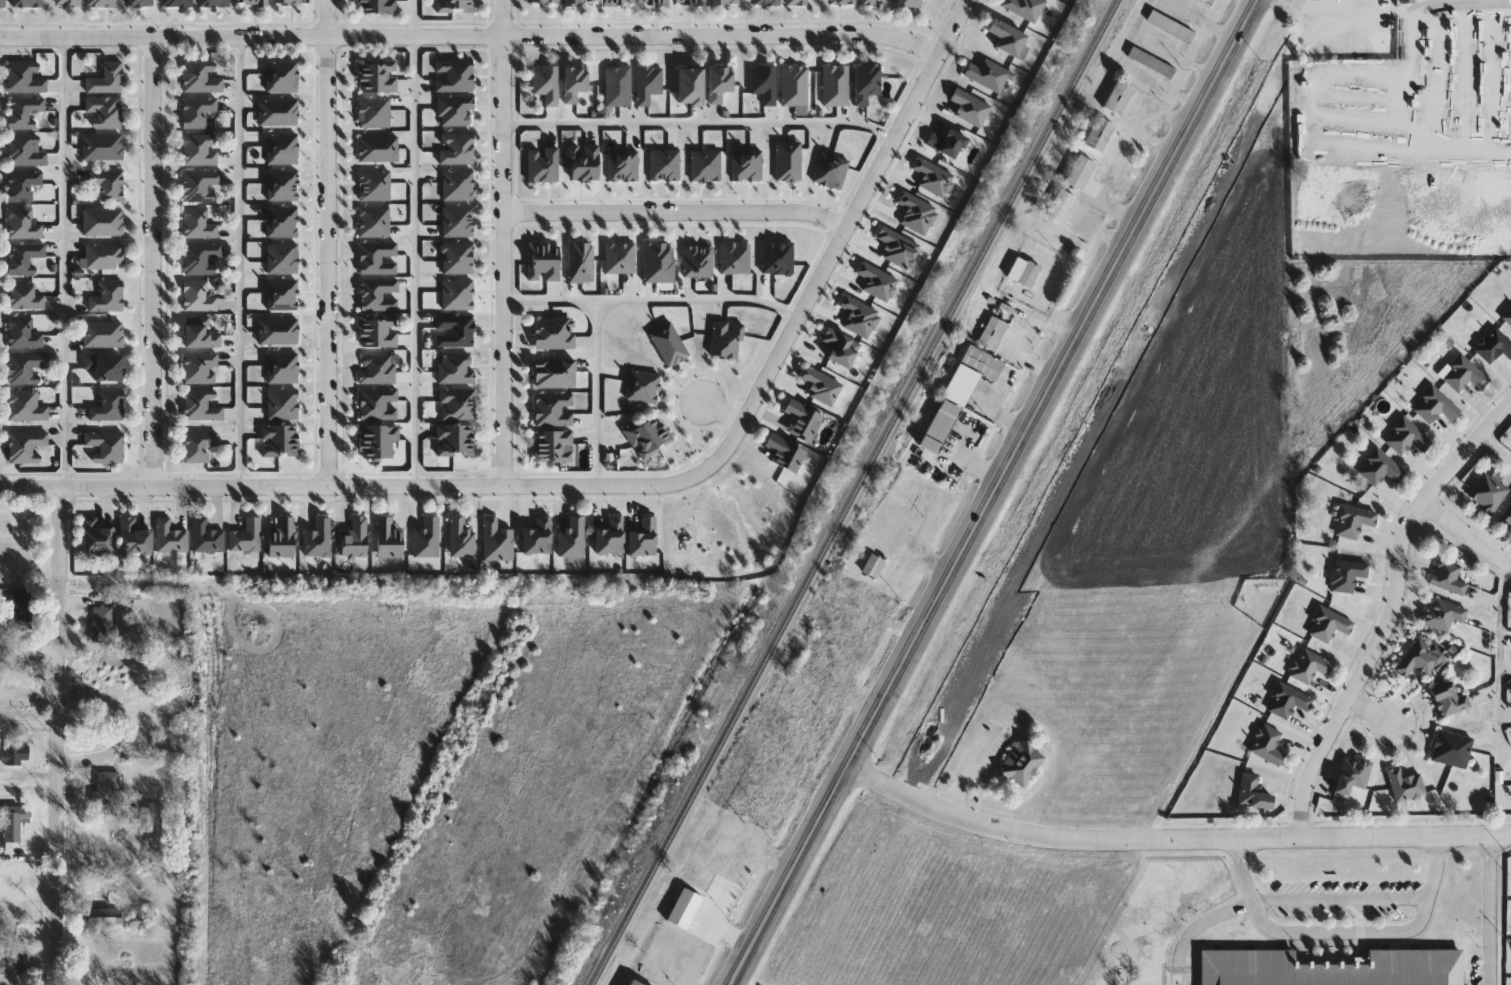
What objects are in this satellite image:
building: (250, 1)
building: (286, 1)
building: (543, 1)
building: (579, 1)
building: (723, 1)
building: (841, 1)
building: (67, 2)
building: (101, 2)
building: (138, 2)
building: (616, 2)
building: (652, 2)
building: (689, 2)
building: (766, 2)
building: (798, 2)
building: (872, 2)
building: (1209, 2)
building: (2, 3)
building: (27, 3)
building: (176, 3)
building: (213, 3)
building: (908, 3)
building: (377, 6)
building: (454, 6)
building: (1023, 7)
road: (1412, 10)
road: (1333, 11)
building: (1172, 26)
building: (1006, 36)
road: (468, 37)
building: (1152, 63)
building: (377, 74)
building: (987, 74)
building: (453, 75)
building: (24, 76)
building: (199, 76)
building: (107, 78)
building: (718, 82)
building: (865, 82)
building: (546, 83)
building: (573, 83)
building: (648, 83)
building: (763, 83)
building: (793, 85)
building: (834, 85)
building: (617, 86)
building: (688, 86)
building: (1119, 98)
building: (969, 107)
building: (454, 109)
building: (196, 110)
building: (22, 111)
building: (104, 111)
road: (697, 124)
building: (1100, 134)
building: (946, 142)
building: (102, 146)
building: (198, 148)
building: (23, 150)
building: (583, 162)
building: (1080, 172)
building: (21, 184)
building: (107, 184)
building: (200, 184)
building: (1061, 206)
road: (675, 212)
building: (102, 222)
building: (22, 223)
building: (197, 223)
road: (328, 242)
road: (418, 242)
road: (502, 242)
building: (103, 255)
building: (23, 256)
building: (200, 256)
road: (154, 261)
road: (242, 261)
building: (542, 261)
building: (580, 262)
building: (657, 262)
road: (67, 264)
building: (1024, 272)
building: (197, 295)
building: (23, 296)
building: (107, 296)
road: (650, 303)
building: (1508, 316)
building: (377, 329)
building: (22, 332)
building: (553, 332)
building: (103, 333)
building: (993, 333)
building: (199, 334)
building: (724, 338)
building: (1494, 345)
road: (1023, 359)
building: (24, 366)
building: (104, 366)
building: (199, 367)
building: (553, 372)
building: (972, 373)
building: (1464, 374)
building: (820, 385)
road: (598, 394)
building: (456, 403)
building: (24, 405)
building: (108, 405)
building: (200, 405)
building: (1435, 405)
road: (996, 412)
road: (723, 413)
building: (941, 425)
building: (647, 434)
building: (1407, 436)
building: (454, 439)
building: (279, 440)
building: (376, 440)
building: (25, 445)
building: (104, 445)
building: (197, 445)
building: (552, 445)
road: (1497, 447)
building: (784, 451)
road: (954, 462)
road: (981, 468)
building: (1380, 468)
road: (624, 485)
railway: (856, 491)
railway: (950, 492)
building: (1488, 492)
road: (998, 493)
building: (1507, 516)
building: (1353, 521)
road: (1468, 534)
building: (95, 536)
building: (246, 536)
building: (132, 537)
building: (169, 537)
building: (205, 537)
building: (353, 537)
building: (386, 537)
building: (459, 537)
building: (571, 537)
building: (280, 538)
building: (425, 538)
building: (874, 566)
building: (1348, 575)
building: (1448, 577)
building: (20, 611)
road: (1391, 612)
building: (1443, 614)
building: (1328, 624)
building: (103, 625)
building: (1419, 659)
road: (1502, 662)
building: (1310, 666)
building: (798, 696)
building: (1449, 699)
building: (1288, 701)
road: (1373, 711)
road: (30, 718)
road: (59, 737)
building: (1268, 745)
building: (1452, 749)
building: (15, 755)
building: (1023, 763)
road: (968, 771)
building: (1353, 774)
building: (1406, 784)
building: (107, 787)
building: (1253, 793)
building: (15, 821)
road: (1174, 842)
road: (1341, 896)
building: (685, 909)
road: (1488, 910)
building: (100, 917)
road: (1196, 926)
road: (1342, 927)
building: (14, 958)
building: (1329, 968)
building: (633, 982)

